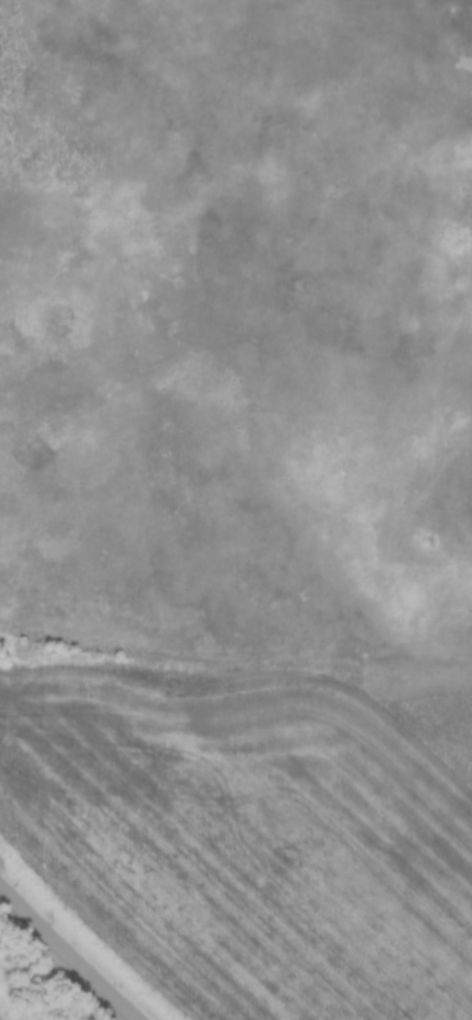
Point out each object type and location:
road: (233, 664)
road: (67, 956)

